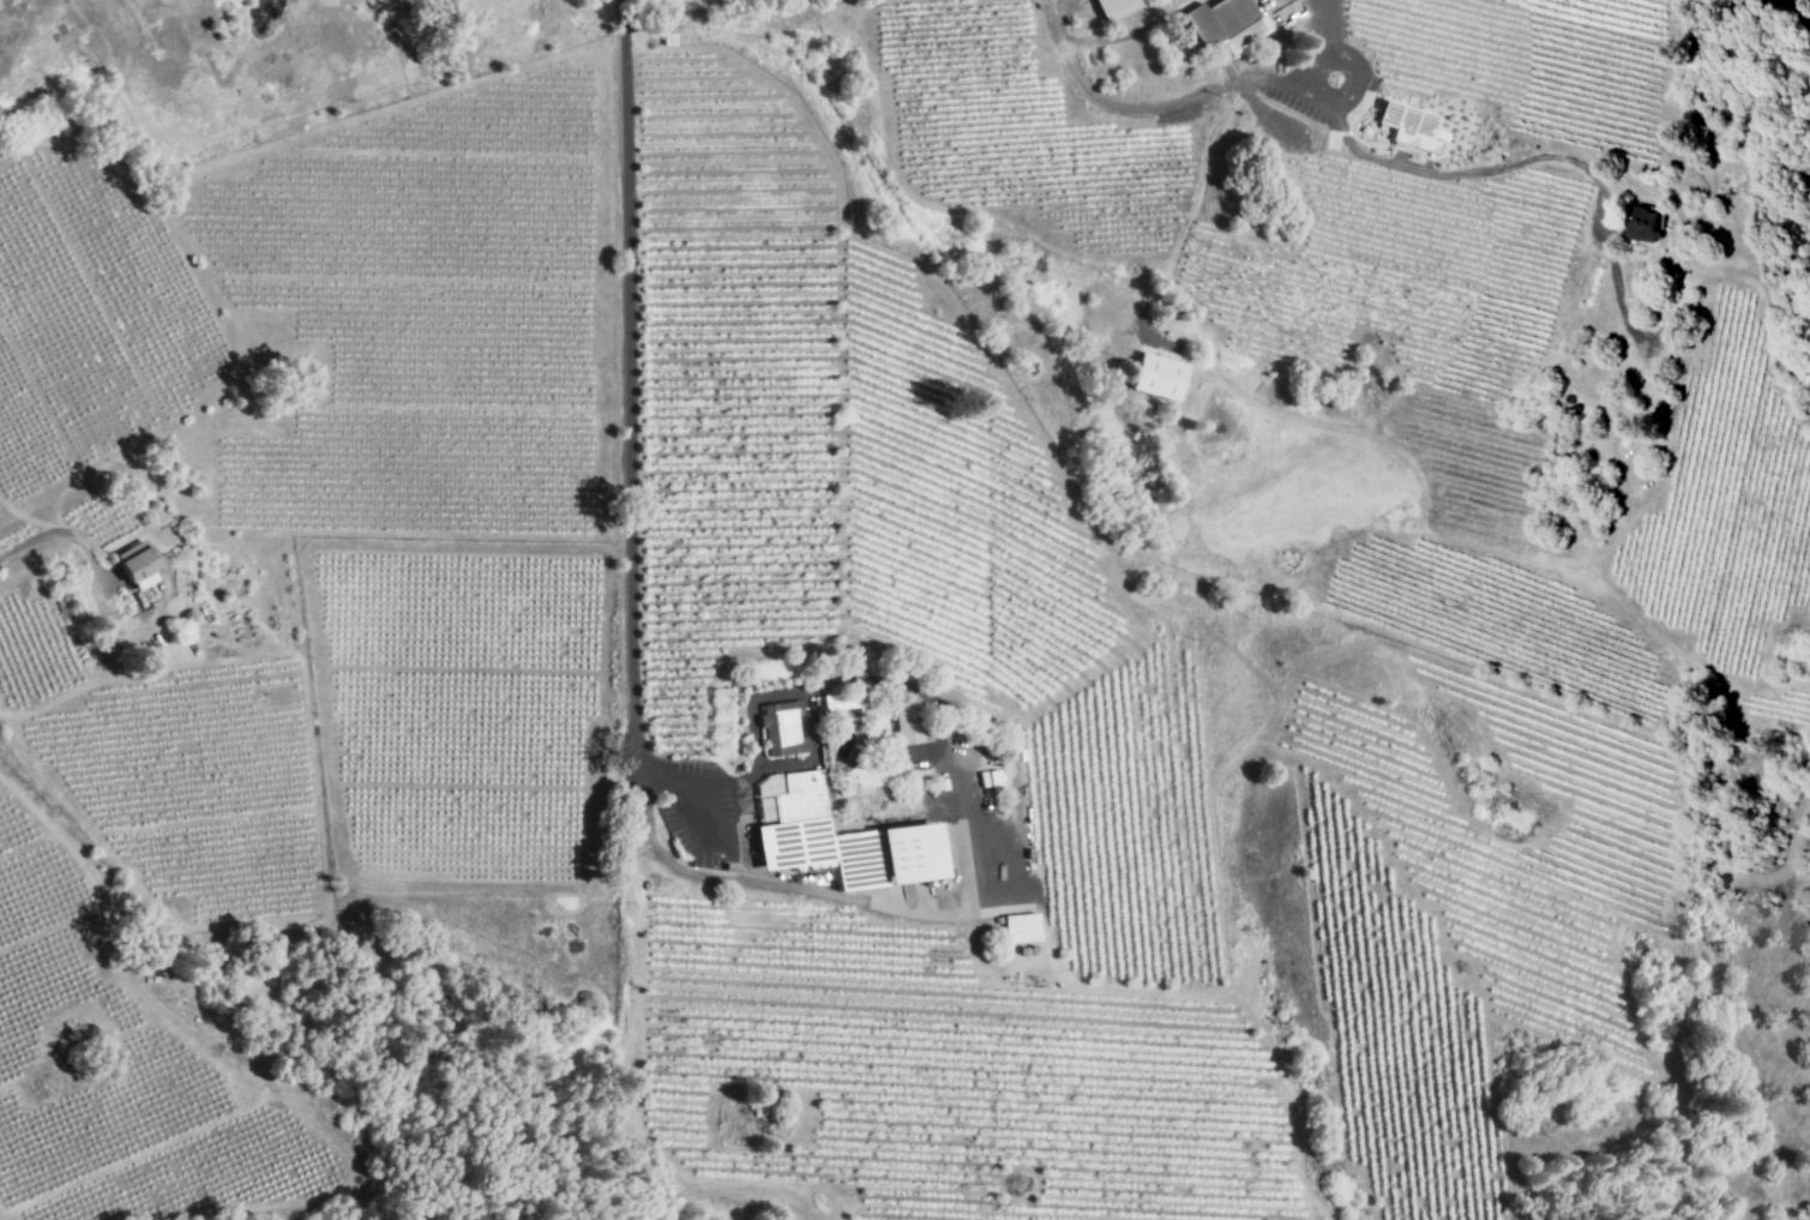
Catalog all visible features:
road: (1790, 1)
building: (1114, 8)
road: (1800, 14)
building: (1225, 24)
road: (1325, 25)
road: (1334, 103)
road: (1118, 107)
building: (1408, 126)
road: (1583, 169)
road: (1197, 182)
building: (1648, 224)
building: (1156, 377)
road: (630, 434)
road: (66, 535)
building: (136, 566)
building: (841, 707)
building: (906, 723)
building: (781, 729)
road: (811, 729)
building: (766, 797)
building: (842, 842)
road: (762, 884)
building: (1020, 928)

